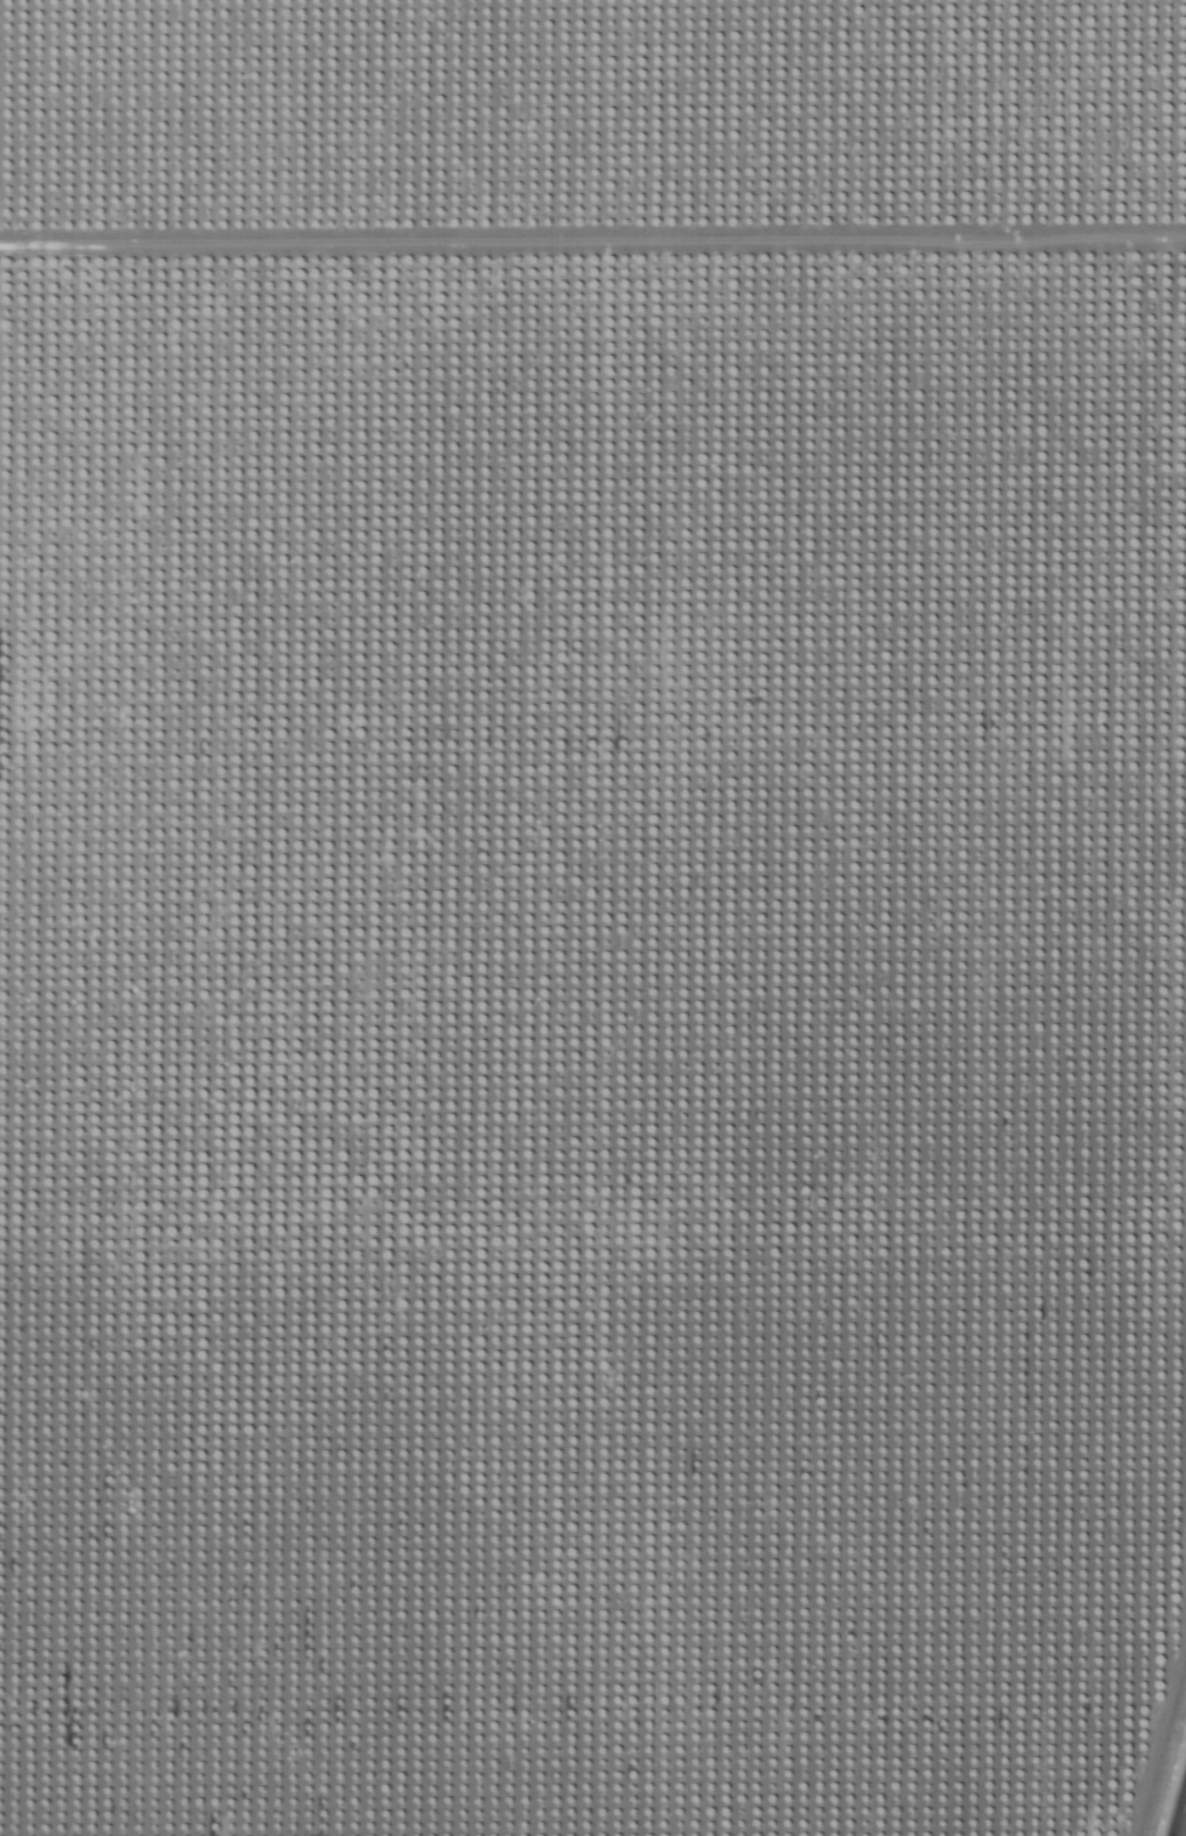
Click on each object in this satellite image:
crop: (592, 917)
road: (1181, 1819)

